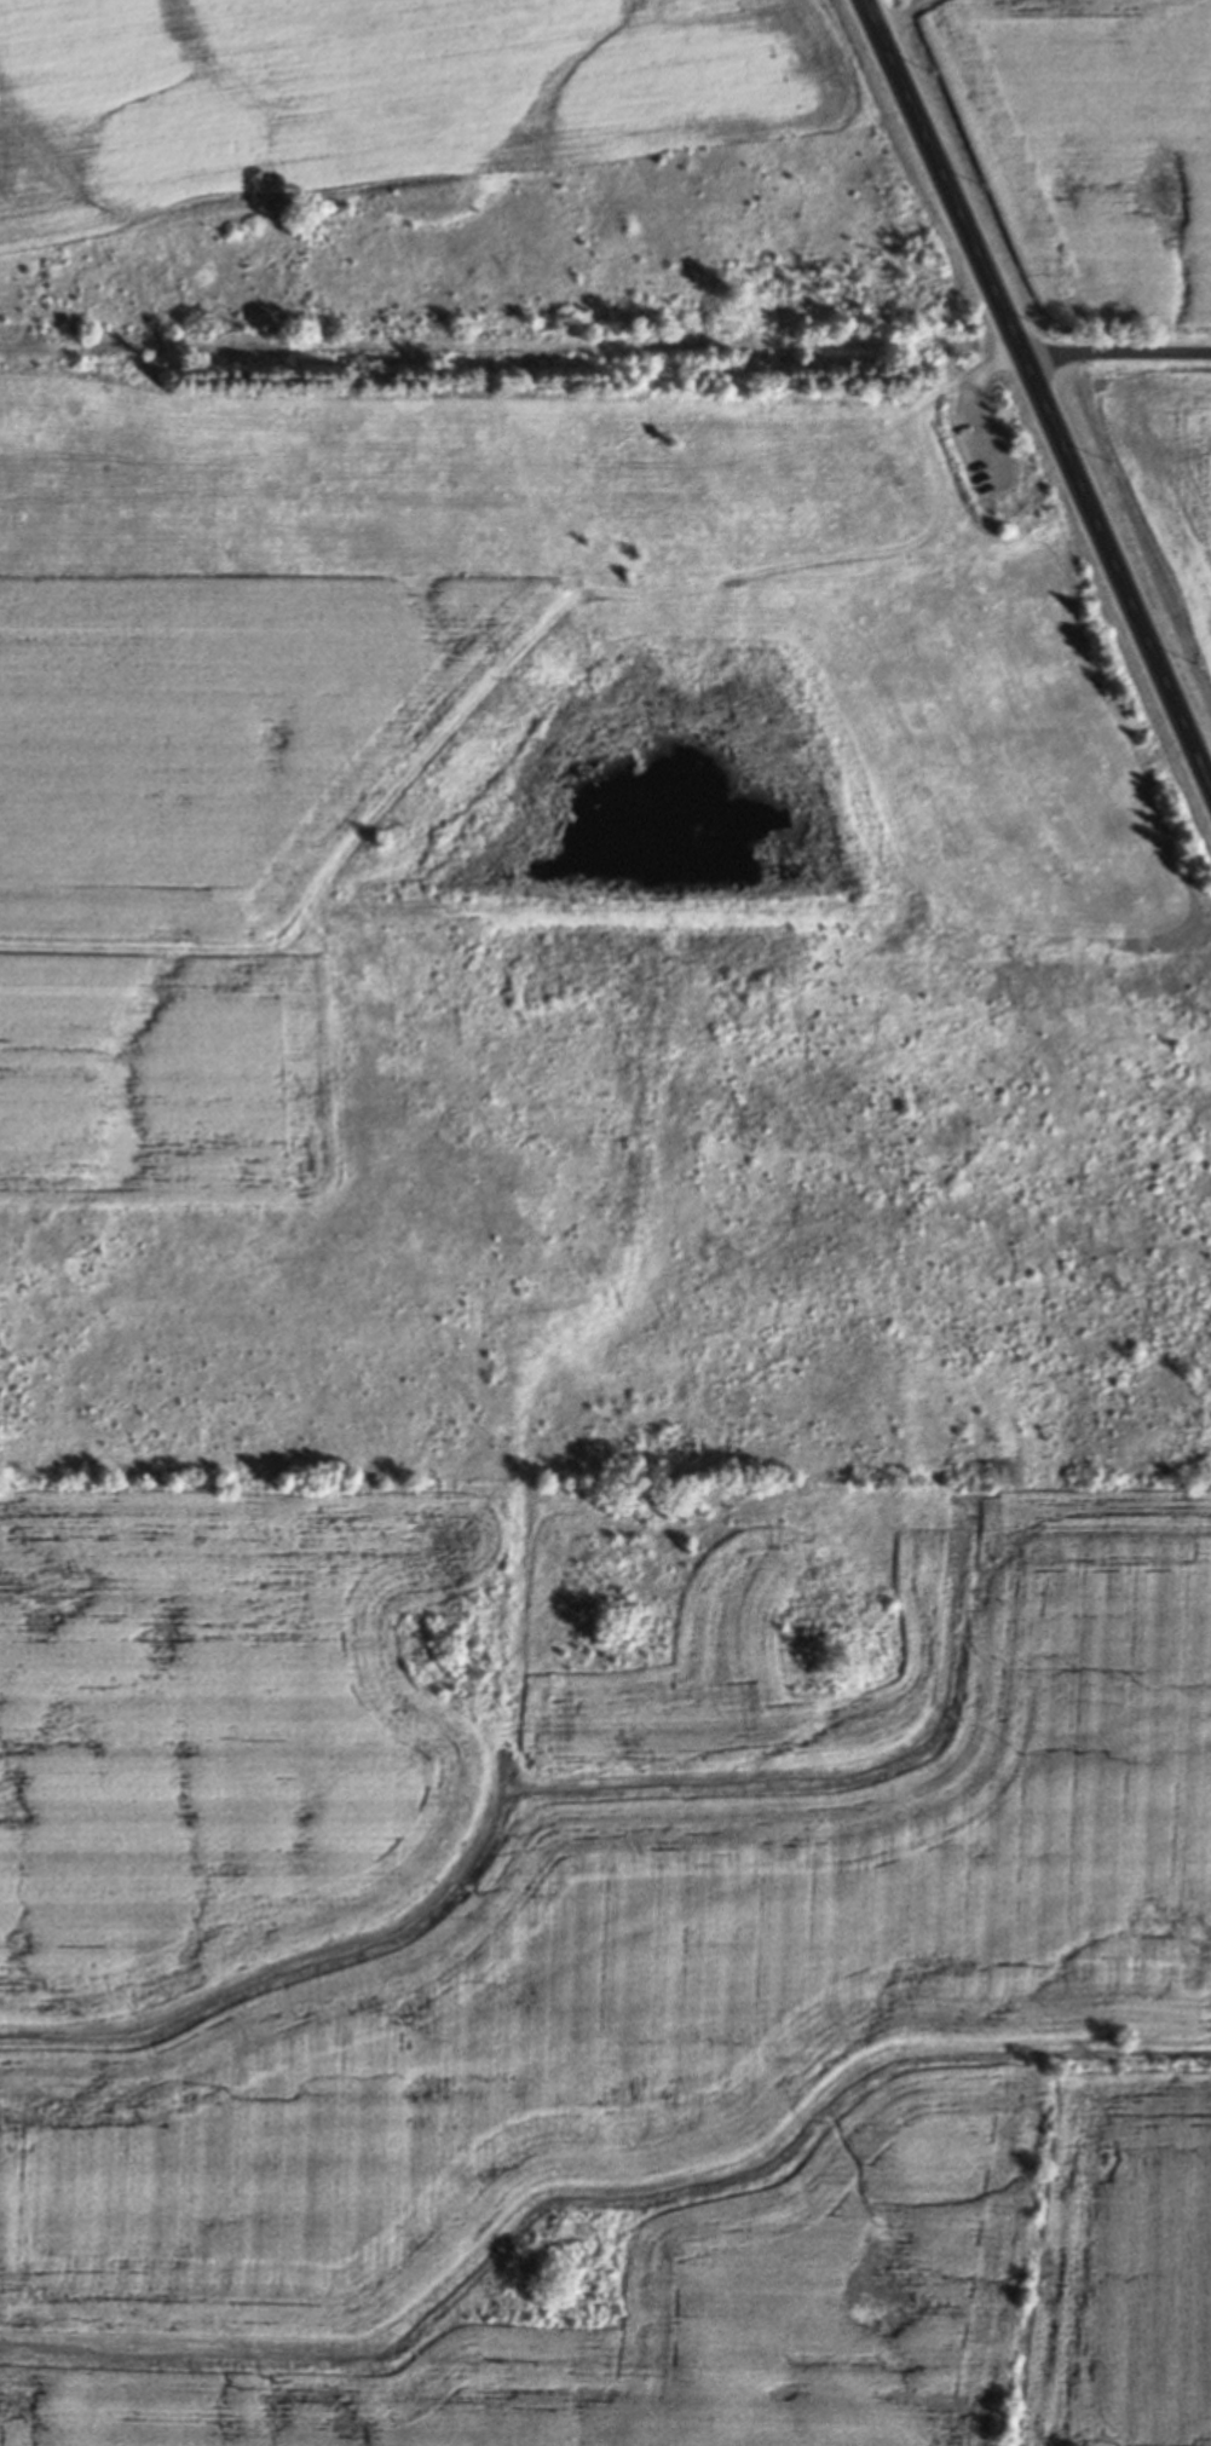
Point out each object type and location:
road: (1118, 352)
road: (1042, 394)

